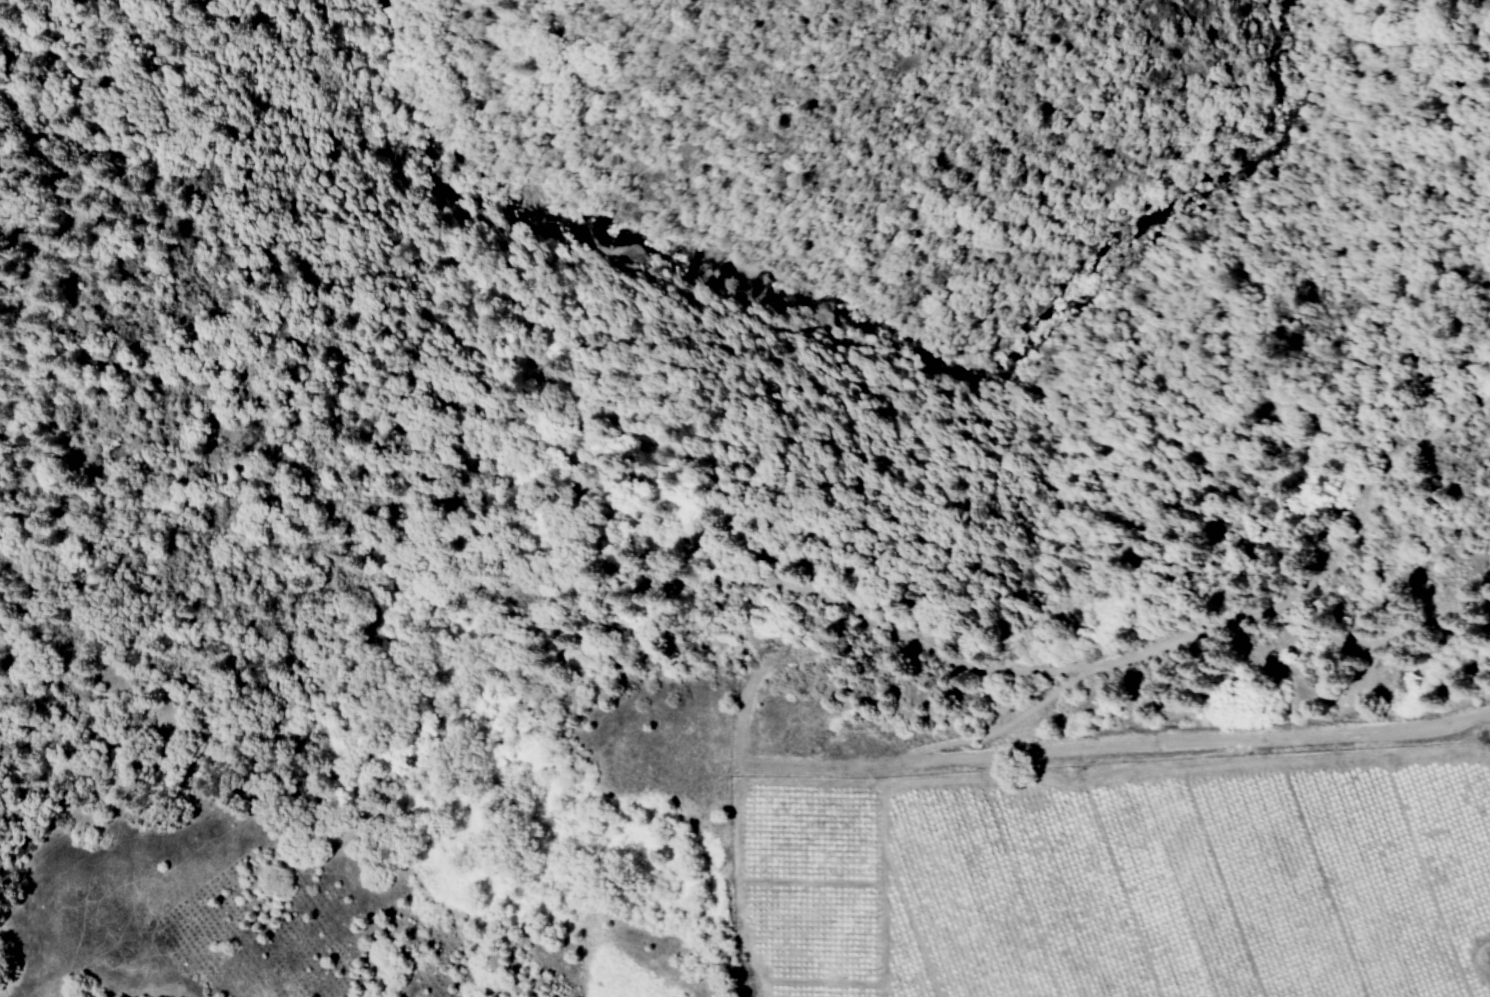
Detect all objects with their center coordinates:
river: (926, 348)

